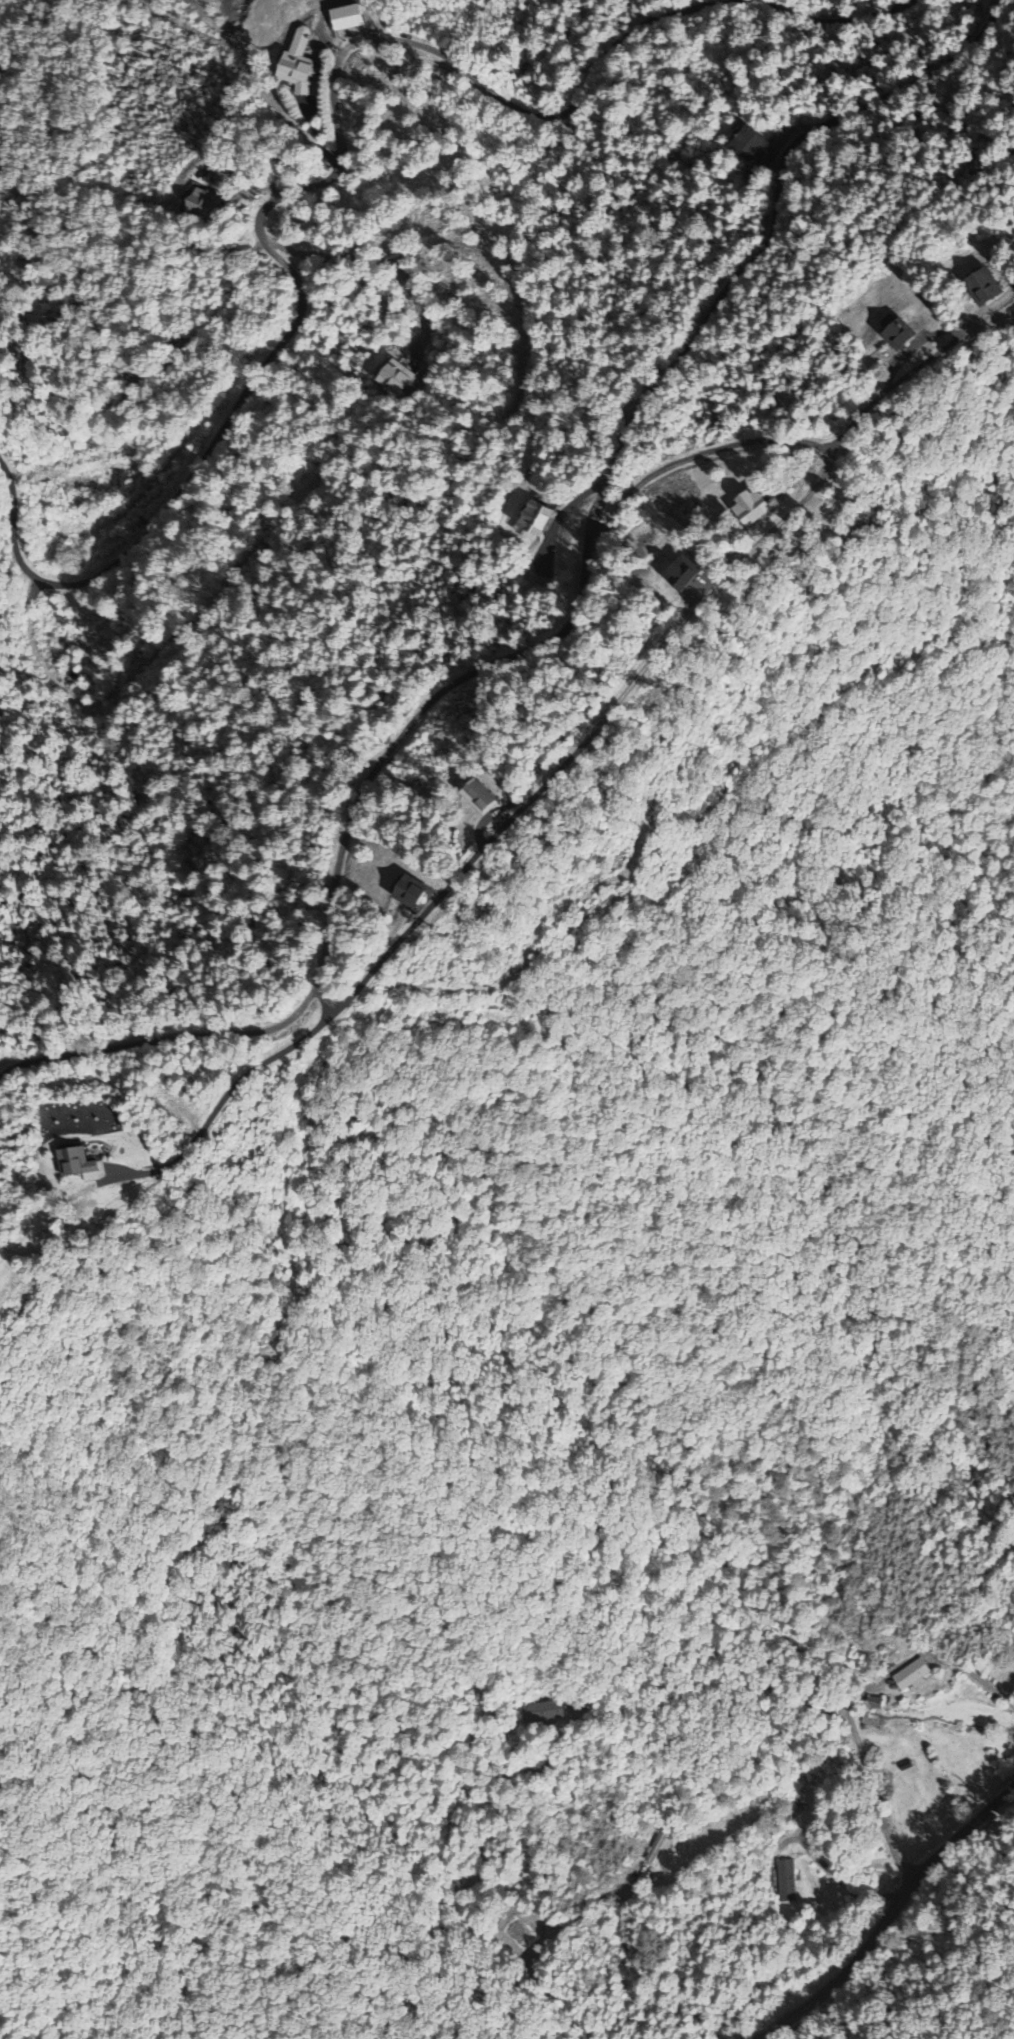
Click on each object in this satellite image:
building: (302, 66)
road: (340, 154)
road: (772, 235)
building: (998, 290)
building: (912, 336)
building: (399, 377)
building: (769, 504)
building: (541, 522)
building: (701, 573)
road: (515, 656)
road: (640, 674)
building: (499, 796)
road: (350, 819)
road: (209, 1033)
building: (85, 1165)
building: (918, 1677)
building: (875, 1704)
building: (548, 1714)
building: (789, 1883)
road: (890, 1916)

